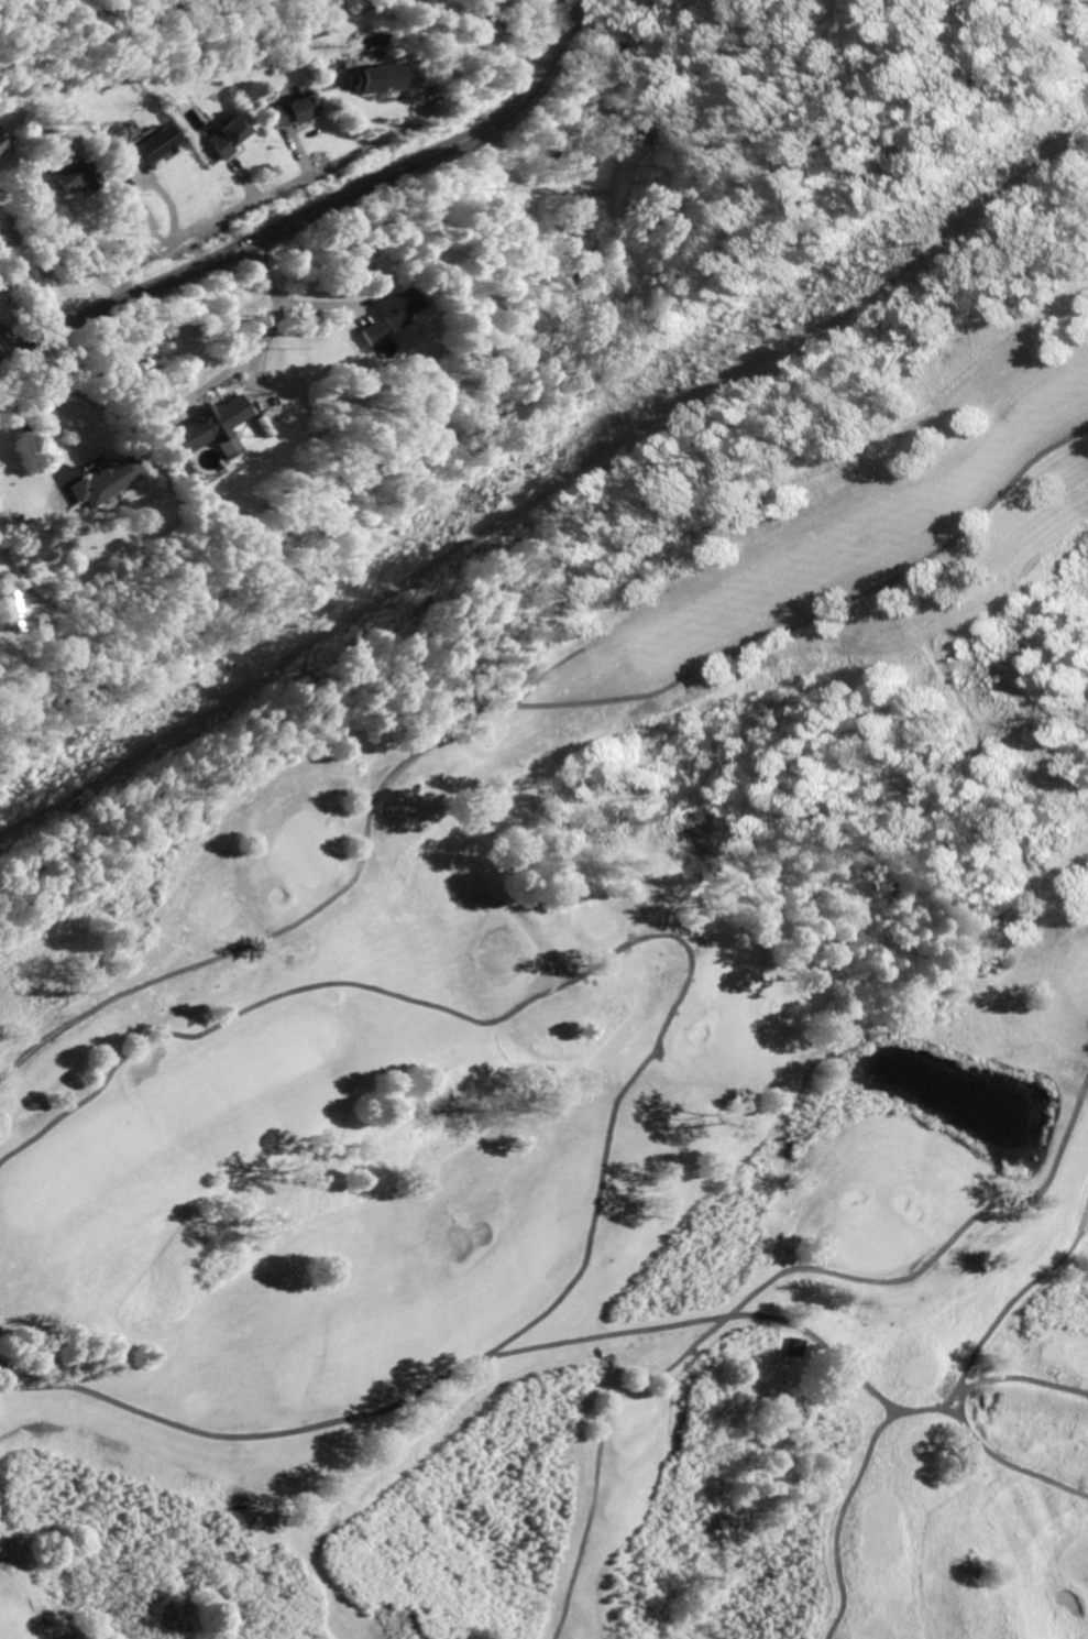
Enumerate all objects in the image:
road: (1069, 12)
building: (373, 76)
building: (289, 110)
building: (634, 117)
building: (222, 135)
building: (0, 145)
building: (144, 147)
building: (73, 171)
road: (563, 187)
road: (263, 198)
road: (323, 211)
road: (59, 258)
road: (266, 277)
building: (392, 307)
building: (366, 332)
road: (12, 334)
road: (254, 347)
building: (210, 426)
building: (105, 479)
building: (17, 608)
road: (509, 707)
road: (563, 984)
park: (740, 1017)
park: (596, 1042)
park: (872, 1236)
road: (756, 1283)
road: (996, 1313)
building: (792, 1345)
road: (460, 1367)
building: (7, 1370)
road: (952, 1414)
road: (958, 1417)
road: (842, 1515)

